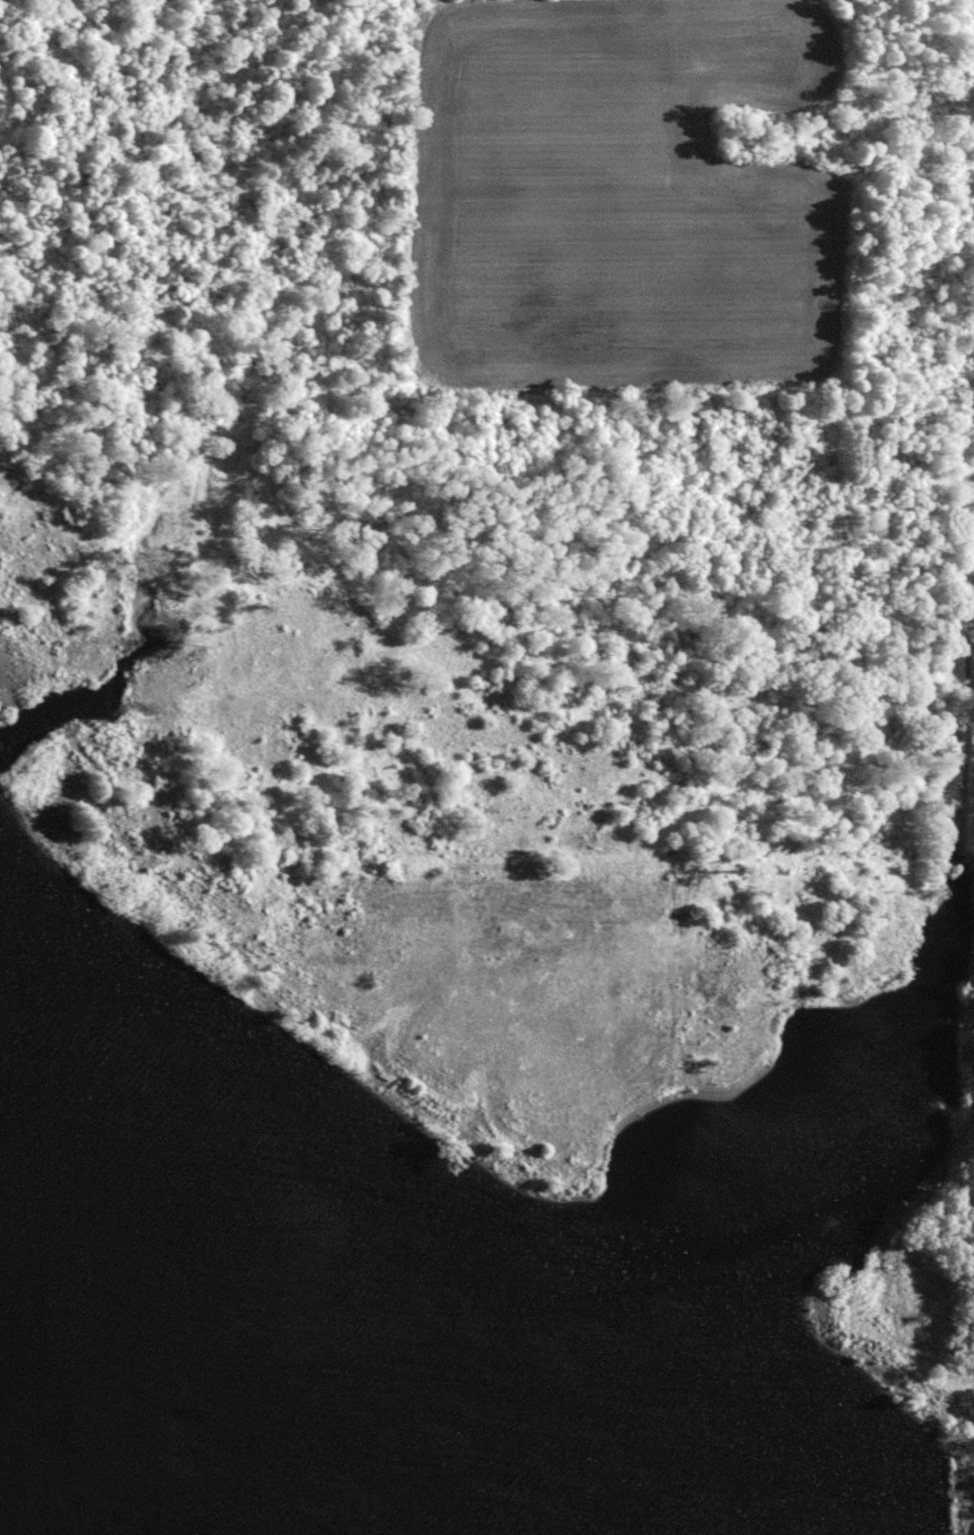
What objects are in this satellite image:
river: (205, 1408)

